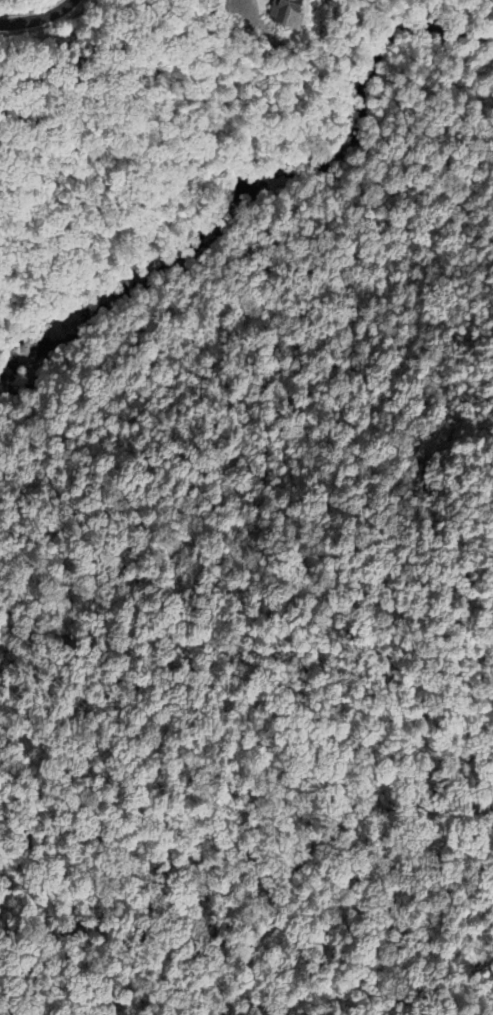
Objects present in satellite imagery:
road: (33, 15)
road: (259, 341)

